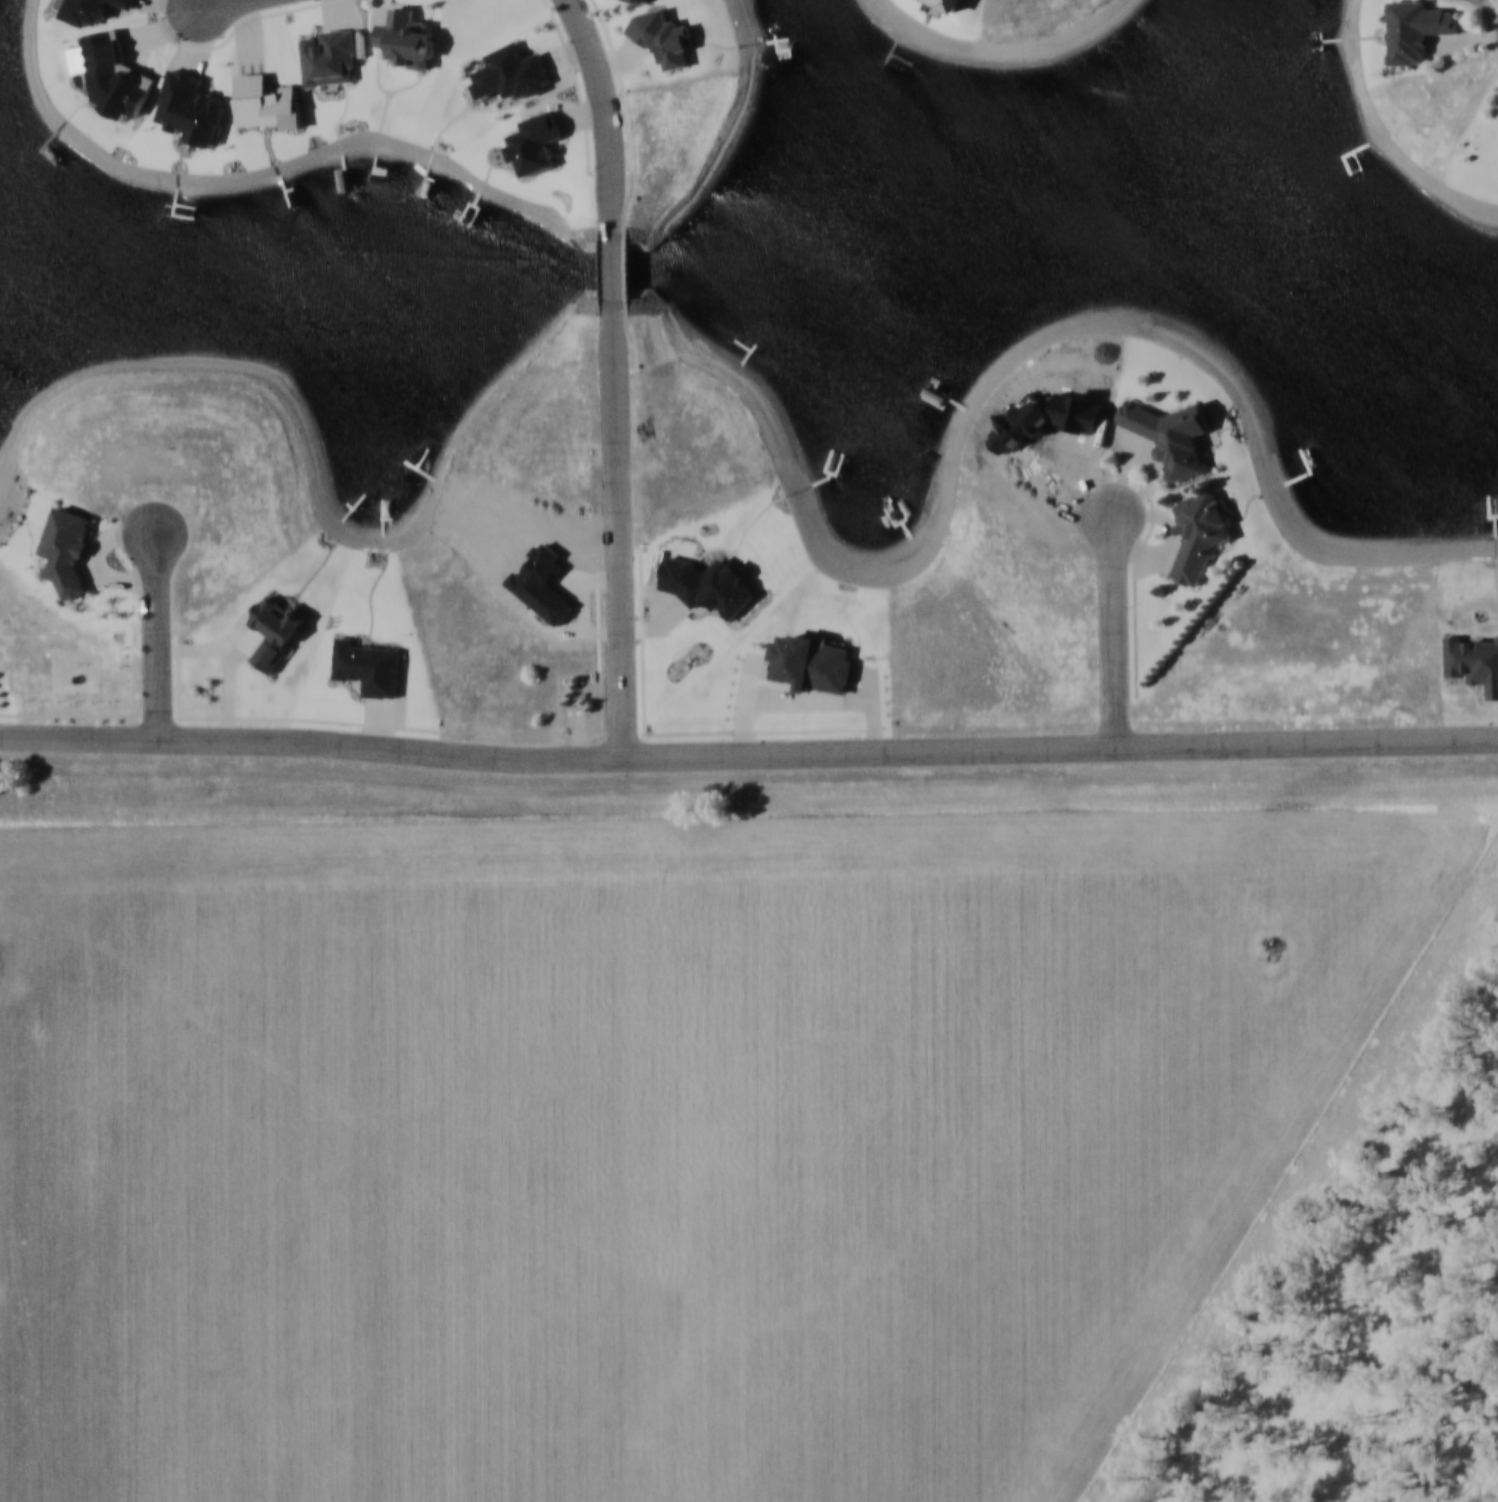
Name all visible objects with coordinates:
building: (642, 0)
road: (215, 4)
building: (1416, 29)
building: (406, 38)
road: (605, 116)
road: (613, 269)
building: (1171, 434)
road: (617, 530)
building: (1199, 533)
building: (67, 545)
road: (1114, 632)
road: (154, 640)
road: (748, 756)

